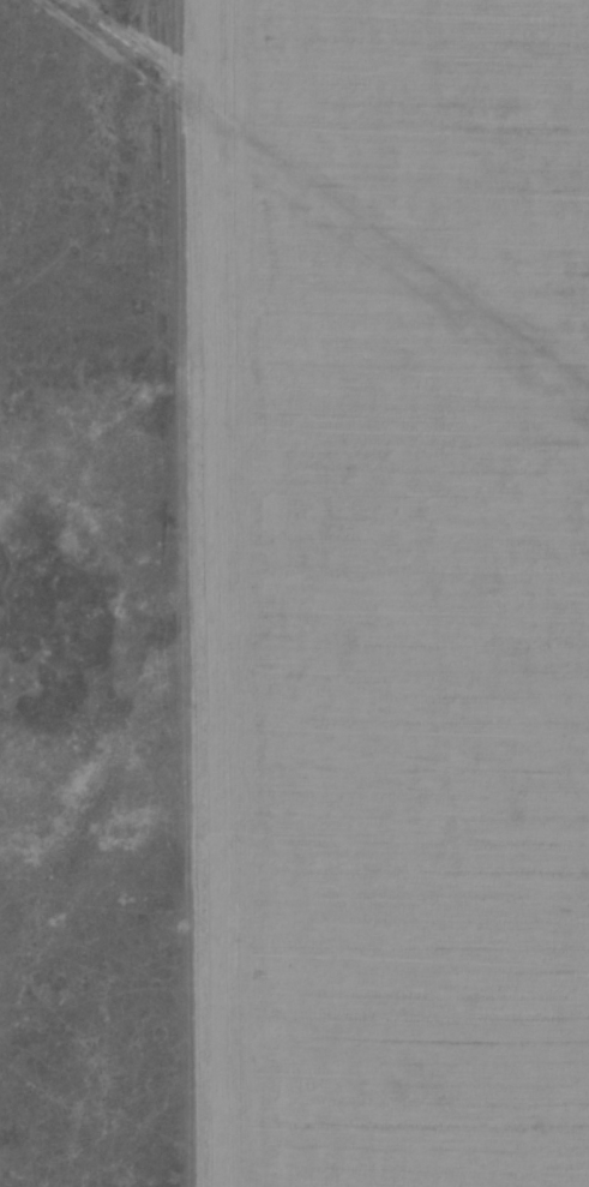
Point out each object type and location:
road: (91, 344)
road: (155, 511)

